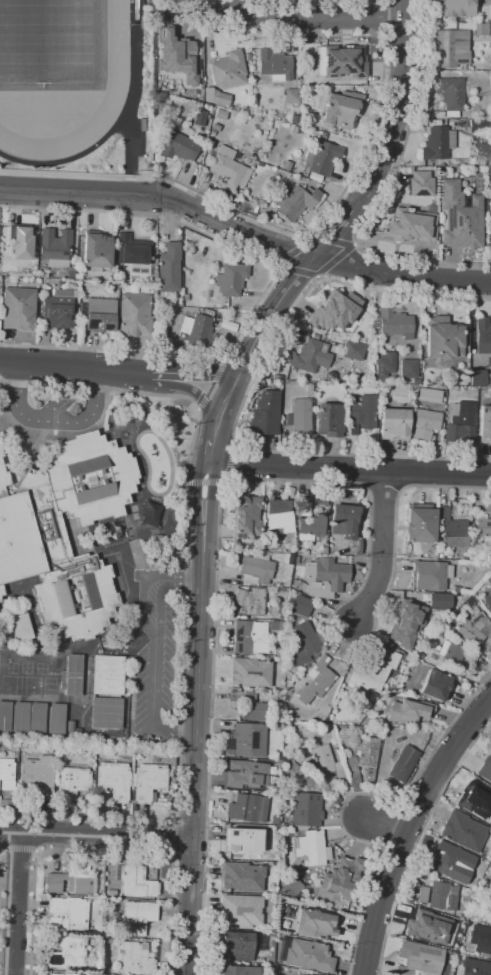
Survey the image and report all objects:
building: (458, 8)
road: (303, 15)
building: (481, 29)
park: (51, 40)
park: (46, 41)
building: (176, 47)
building: (450, 49)
building: (339, 61)
building: (275, 65)
building: (229, 69)
road: (115, 80)
track: (115, 80)
building: (451, 94)
building: (293, 95)
building: (166, 96)
building: (212, 96)
road: (133, 107)
building: (341, 109)
building: (199, 118)
building: (479, 125)
building: (438, 144)
building: (181, 147)
road: (71, 158)
building: (322, 158)
building: (287, 165)
building: (228, 168)
building: (421, 183)
road: (380, 190)
building: (294, 201)
road: (356, 205)
building: (461, 216)
building: (410, 226)
road: (245, 228)
building: (17, 245)
building: (55, 247)
building: (132, 250)
building: (96, 251)
building: (169, 269)
building: (230, 279)
road: (266, 287)
building: (18, 308)
building: (57, 308)
building: (335, 310)
building: (134, 312)
building: (99, 314)
building: (394, 324)
building: (197, 328)
building: (483, 335)
building: (443, 338)
building: (352, 349)
building: (310, 355)
building: (384, 364)
building: (408, 369)
road: (115, 370)
building: (479, 378)
road: (160, 385)
building: (309, 387)
road: (245, 393)
road: (223, 397)
parking lot: (57, 404)
building: (265, 413)
building: (361, 413)
building: (301, 415)
building: (329, 419)
building: (461, 420)
road: (53, 422)
building: (394, 423)
building: (425, 423)
building: (485, 425)
road: (211, 428)
building: (0, 451)
road: (206, 451)
road: (347, 469)
building: (487, 511)
building: (277, 515)
building: (246, 517)
building: (344, 520)
building: (309, 524)
building: (420, 525)
building: (483, 528)
building: (452, 530)
building: (155, 535)
building: (33, 539)
road: (382, 549)
building: (255, 569)
building: (429, 574)
building: (324, 577)
road: (144, 584)
road: (185, 594)
building: (456, 597)
building: (0, 599)
building: (250, 600)
building: (440, 601)
building: (470, 601)
building: (487, 601)
road: (340, 604)
building: (301, 605)
building: (406, 623)
building: (19, 628)
building: (475, 631)
building: (245, 635)
building: (302, 642)
building: (453, 655)
road: (154, 659)
building: (376, 671)
building: (250, 672)
building: (73, 675)
building: (107, 675)
parking lot: (155, 675)
building: (315, 681)
building: (435, 684)
building: (250, 706)
building: (408, 711)
building: (105, 713)
building: (5, 716)
building: (19, 717)
building: (36, 718)
building: (55, 718)
road: (195, 718)
road: (210, 723)
building: (246, 740)
building: (325, 760)
building: (363, 761)
road: (462, 762)
building: (403, 764)
building: (6, 770)
building: (247, 773)
building: (485, 774)
building: (38, 775)
building: (148, 780)
building: (71, 781)
building: (112, 782)
building: (477, 798)
road: (387, 806)
building: (247, 808)
building: (305, 808)
road: (384, 821)
road: (408, 826)
road: (96, 830)
building: (463, 831)
building: (242, 840)
road: (81, 847)
building: (311, 847)
road: (188, 856)
building: (449, 860)
building: (241, 876)
building: (341, 876)
building: (71, 880)
building: (134, 881)
building: (291, 888)
road: (398, 889)
building: (422, 894)
building: (443, 896)
road: (14, 901)
building: (240, 910)
building: (67, 914)
building: (136, 917)
building: (315, 924)
building: (432, 924)
road: (357, 937)
building: (480, 938)
building: (236, 946)
building: (66, 952)
road: (202, 953)
road: (173, 954)
building: (308, 955)
building: (418, 958)
building: (132, 959)
building: (475, 967)
building: (237, 970)
building: (64, 974)
building: (306, 974)

